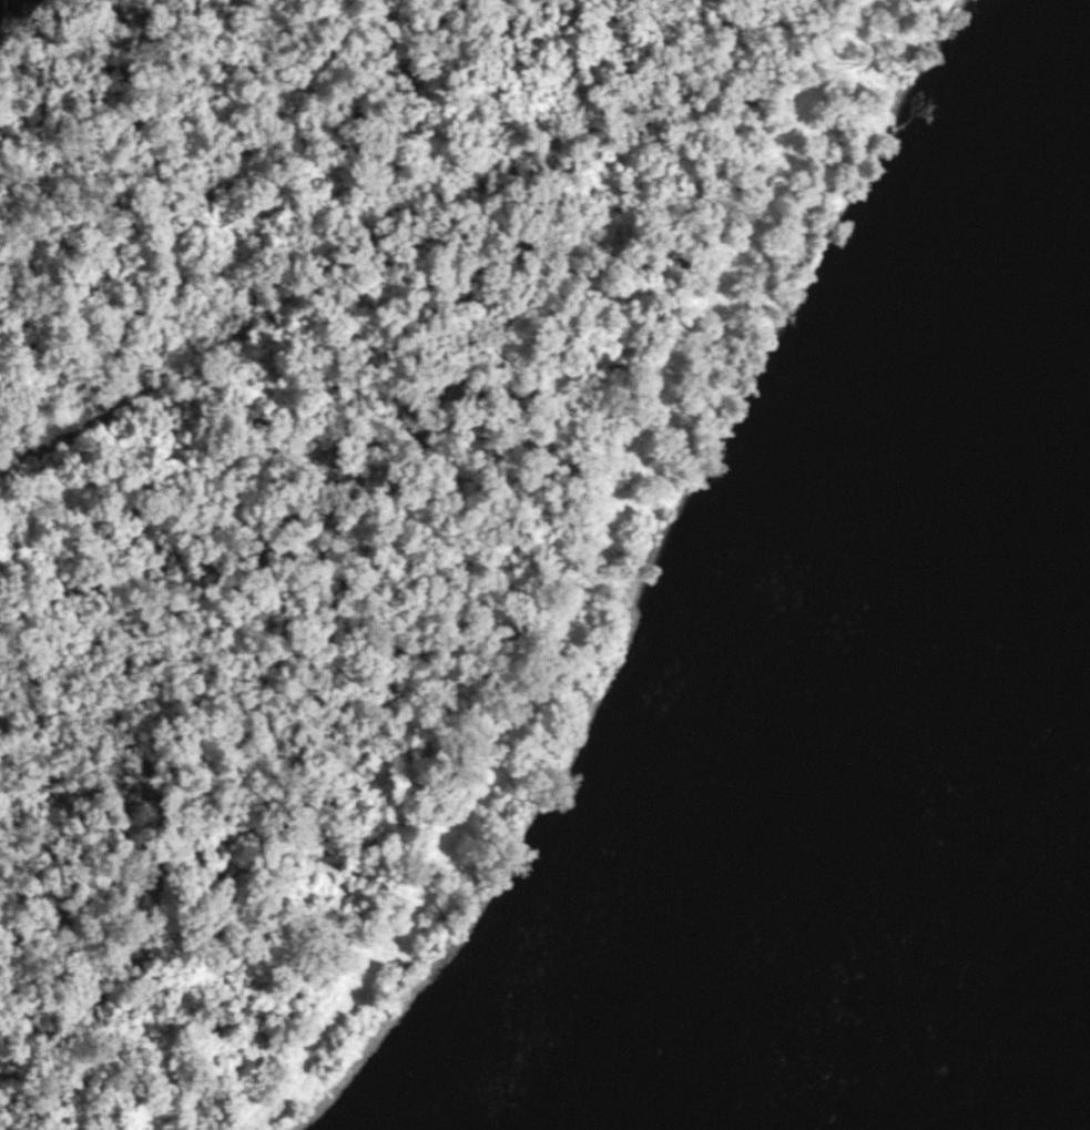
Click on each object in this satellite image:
river: (1023, 1058)

